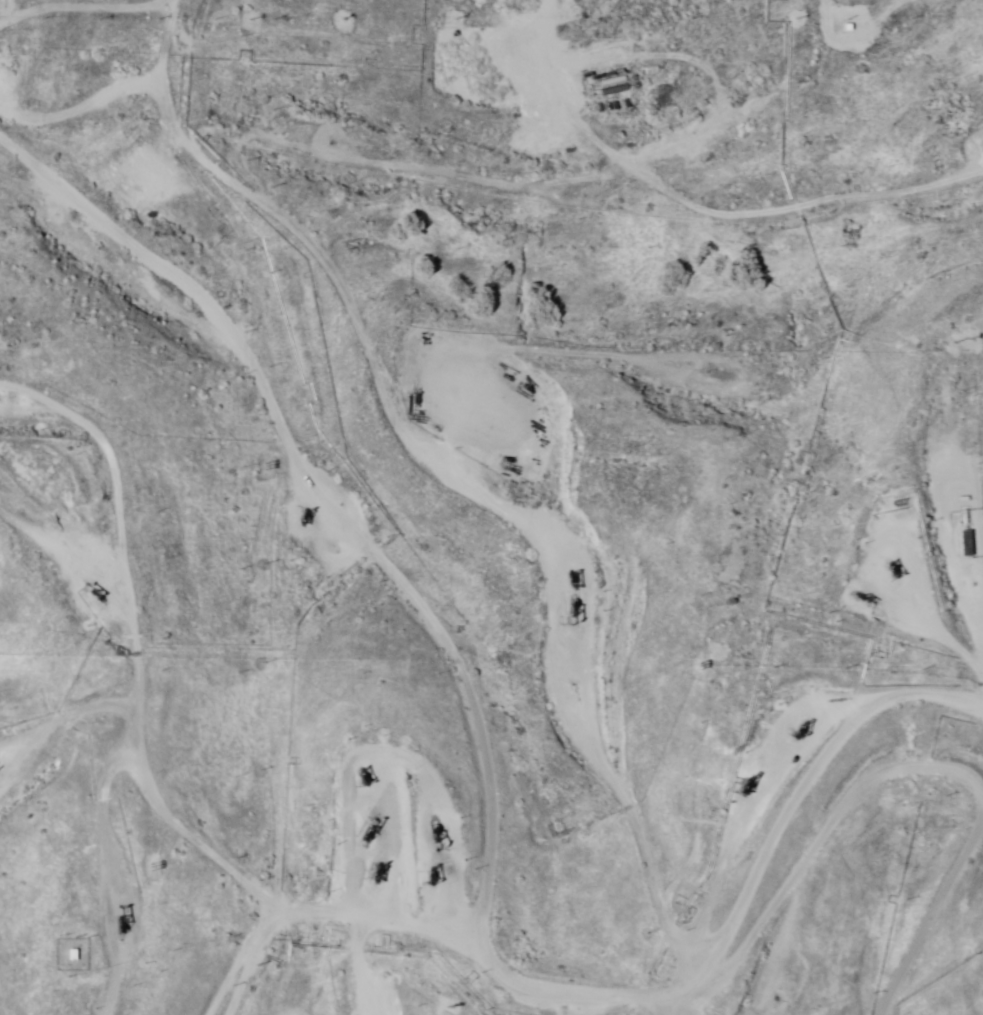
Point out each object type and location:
road: (982, 0)
road: (675, 178)
road: (253, 180)
road: (608, 400)
road: (112, 492)
road: (409, 499)
building: (967, 544)
road: (129, 667)
road: (978, 767)
road: (354, 791)
road: (842, 831)
road: (67, 958)
road: (213, 979)
road: (374, 981)
road: (541, 987)

